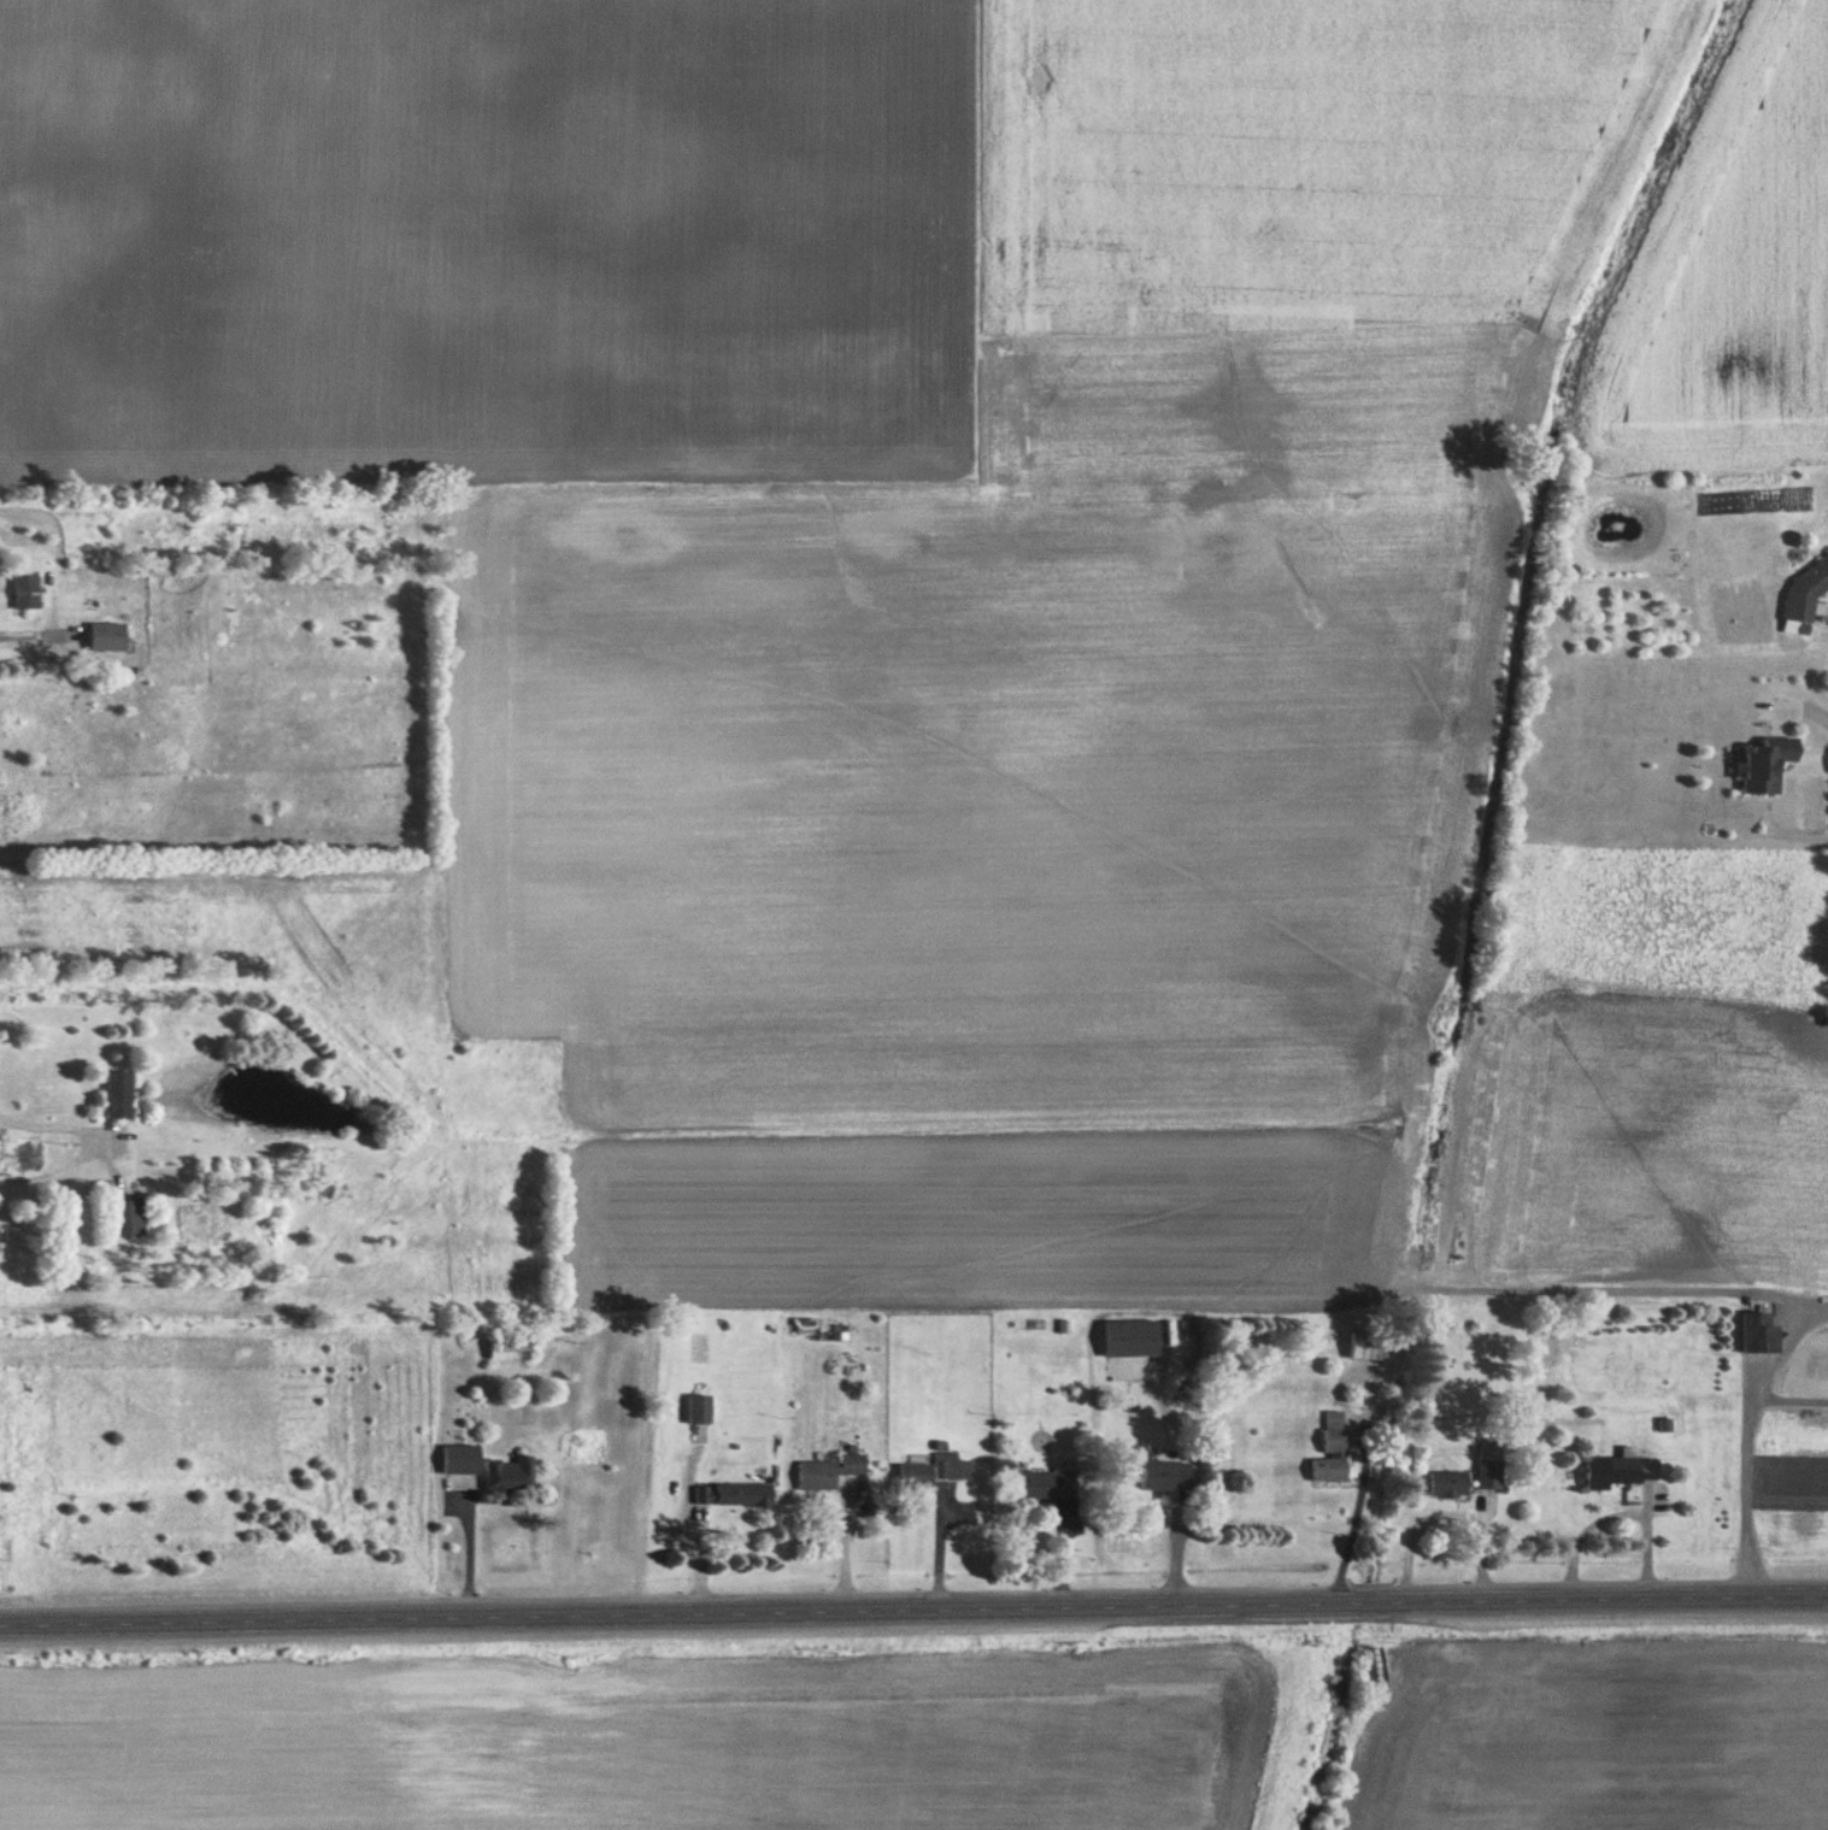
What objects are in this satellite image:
building: (28, 592)
building: (1808, 593)
road: (18, 626)
building: (110, 636)
road: (1805, 707)
building: (1771, 763)
building: (122, 1094)
road: (70, 1138)
building: (29, 1157)
building: (130, 1218)
building: (1763, 1334)
building: (513, 1343)
building: (1370, 1346)
building: (1133, 1348)
building: (701, 1408)
road: (1726, 1426)
building: (1334, 1435)
building: (460, 1461)
building: (934, 1473)
building: (1328, 1473)
building: (1488, 1473)
building: (1621, 1473)
building: (828, 1475)
building: (510, 1477)
building: (1164, 1477)
building: (1045, 1488)
building: (1447, 1488)
building: (733, 1499)
road: (1344, 1538)
road: (466, 1549)
road: (913, 1610)

